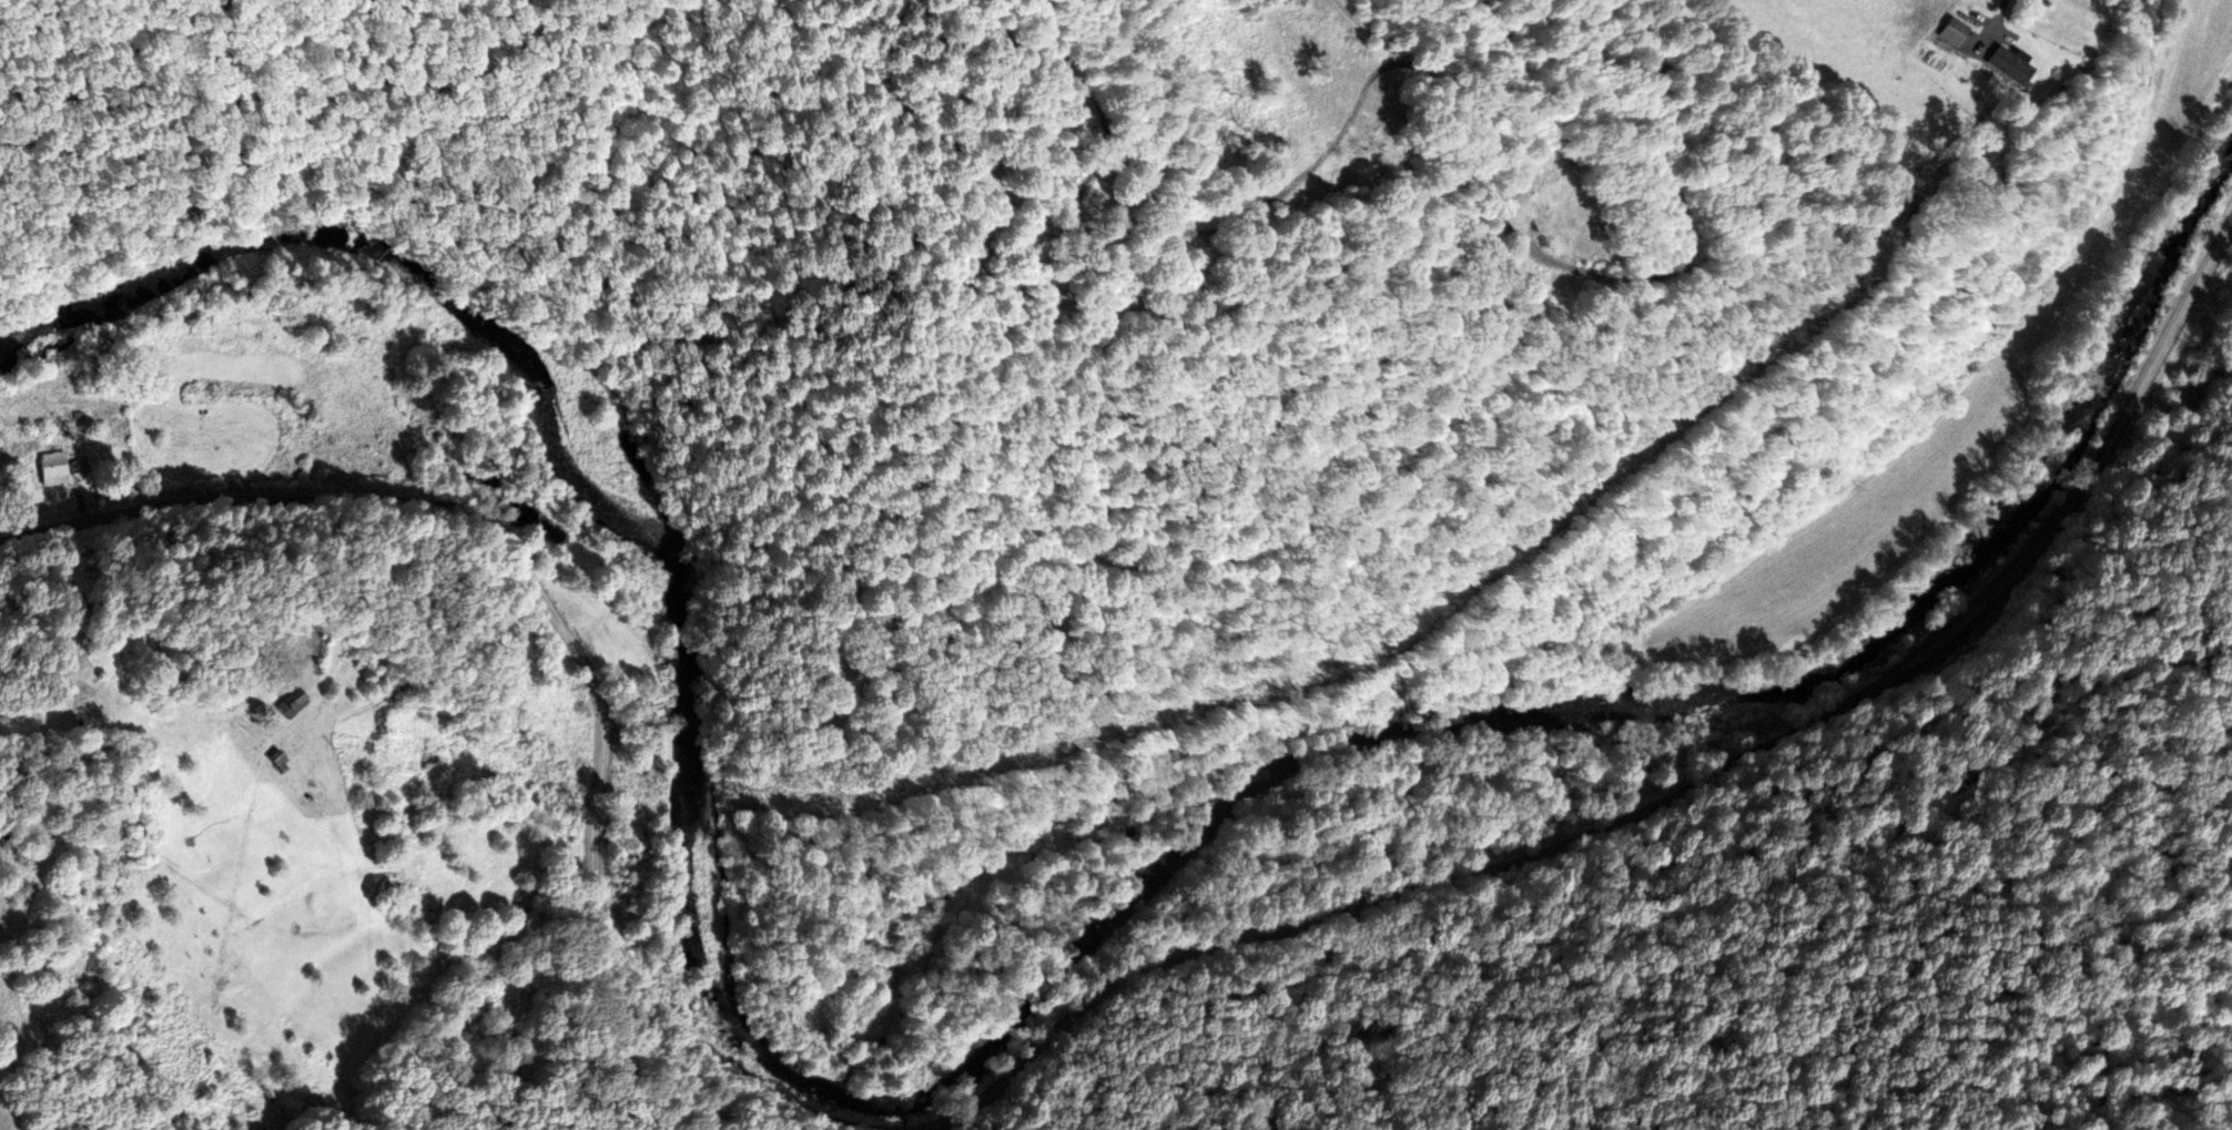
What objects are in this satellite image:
road: (1998, 14)
building: (1966, 37)
building: (2009, 65)
road: (1442, 85)
building: (0, 447)
building: (51, 469)
road: (579, 650)
park: (115, 654)
road: (78, 674)
building: (291, 704)
building: (652, 711)
road: (1672, 801)
road: (1826, 844)
river: (994, 1029)

